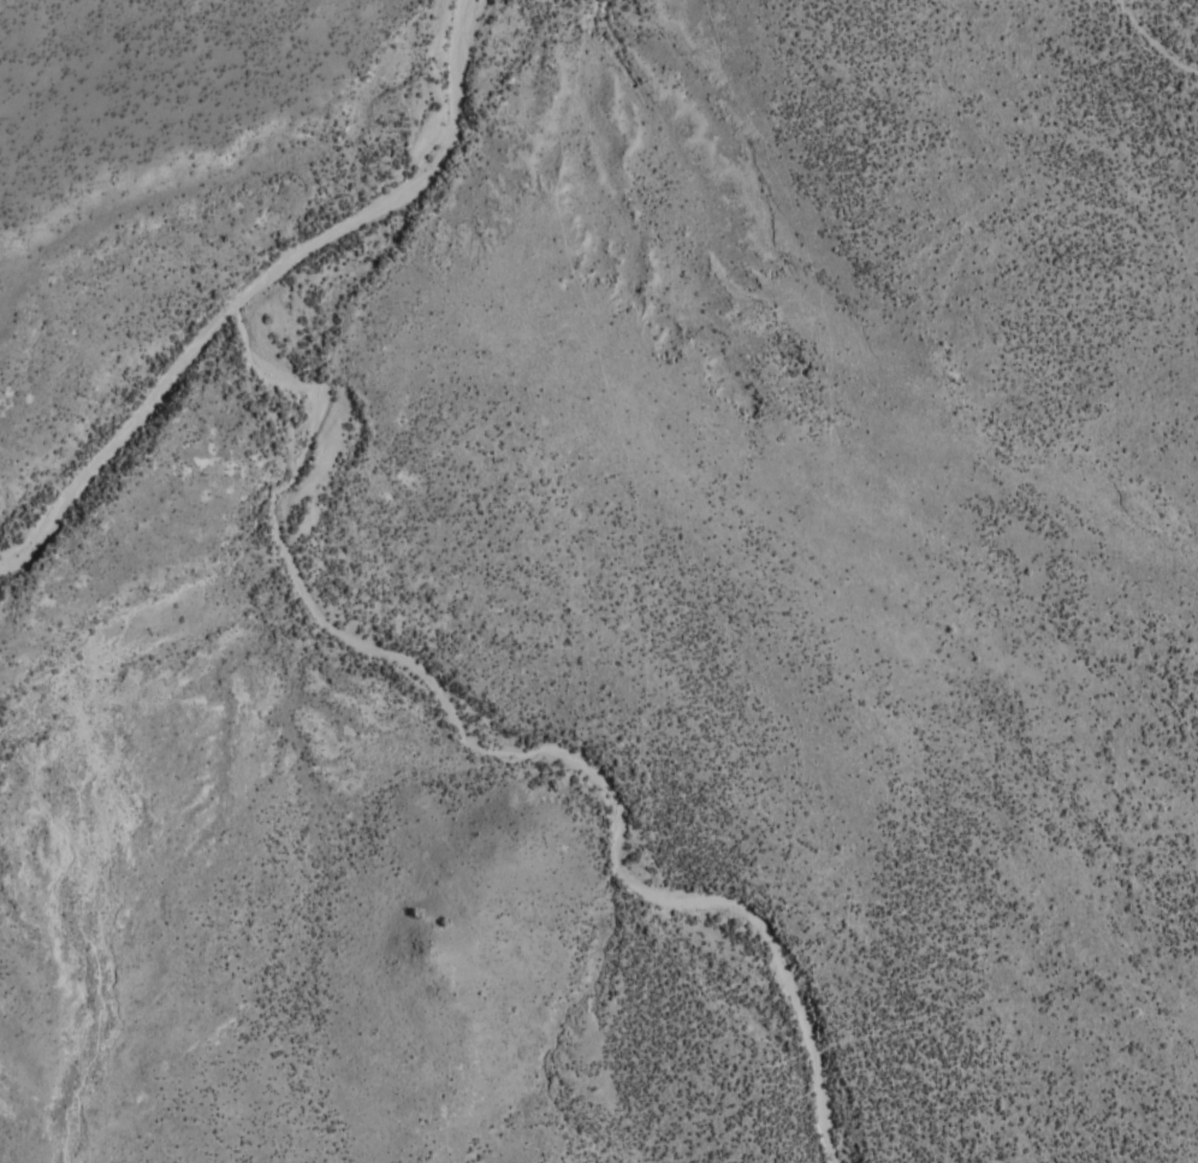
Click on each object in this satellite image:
river: (261, 295)

